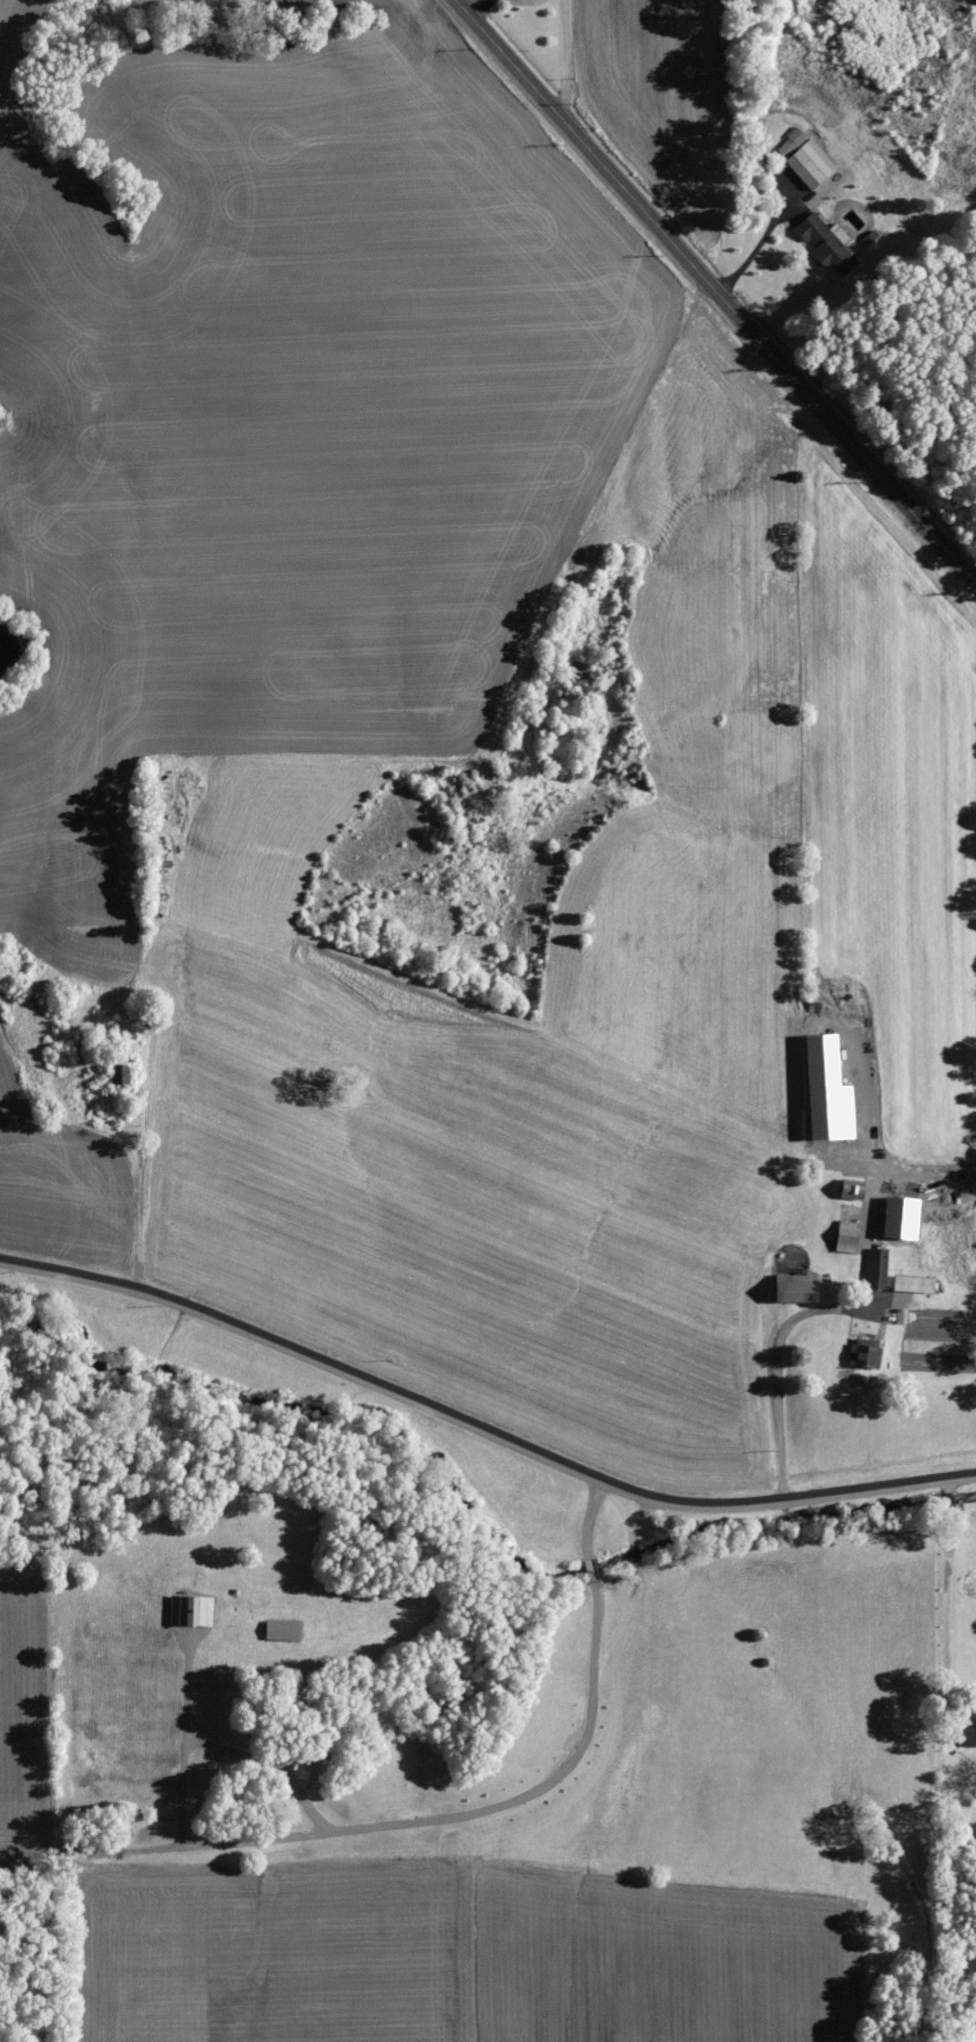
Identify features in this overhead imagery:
road: (562, 60)
building: (791, 141)
building: (812, 163)
building: (870, 238)
building: (829, 244)
road: (755, 248)
road: (716, 290)
building: (829, 1090)
road: (137, 1147)
building: (903, 1218)
building: (848, 1236)
building: (879, 1268)
building: (800, 1288)
building: (866, 1352)
road: (779, 1368)
road: (481, 1426)
road: (947, 1596)
building: (284, 1630)
building: (971, 1734)

